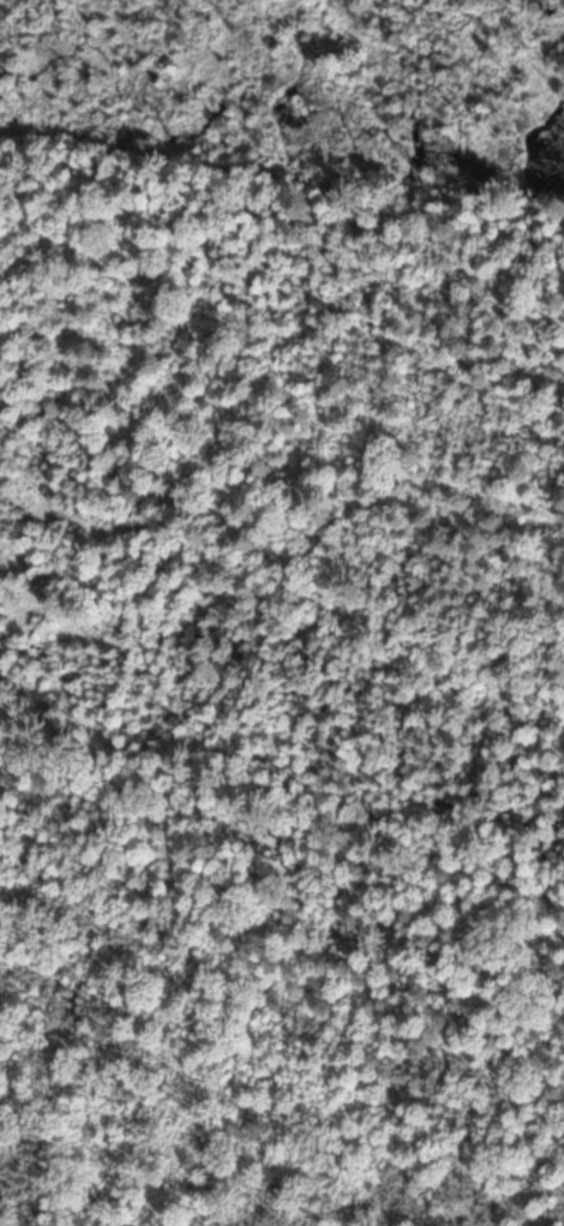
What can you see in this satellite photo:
road: (276, 976)

